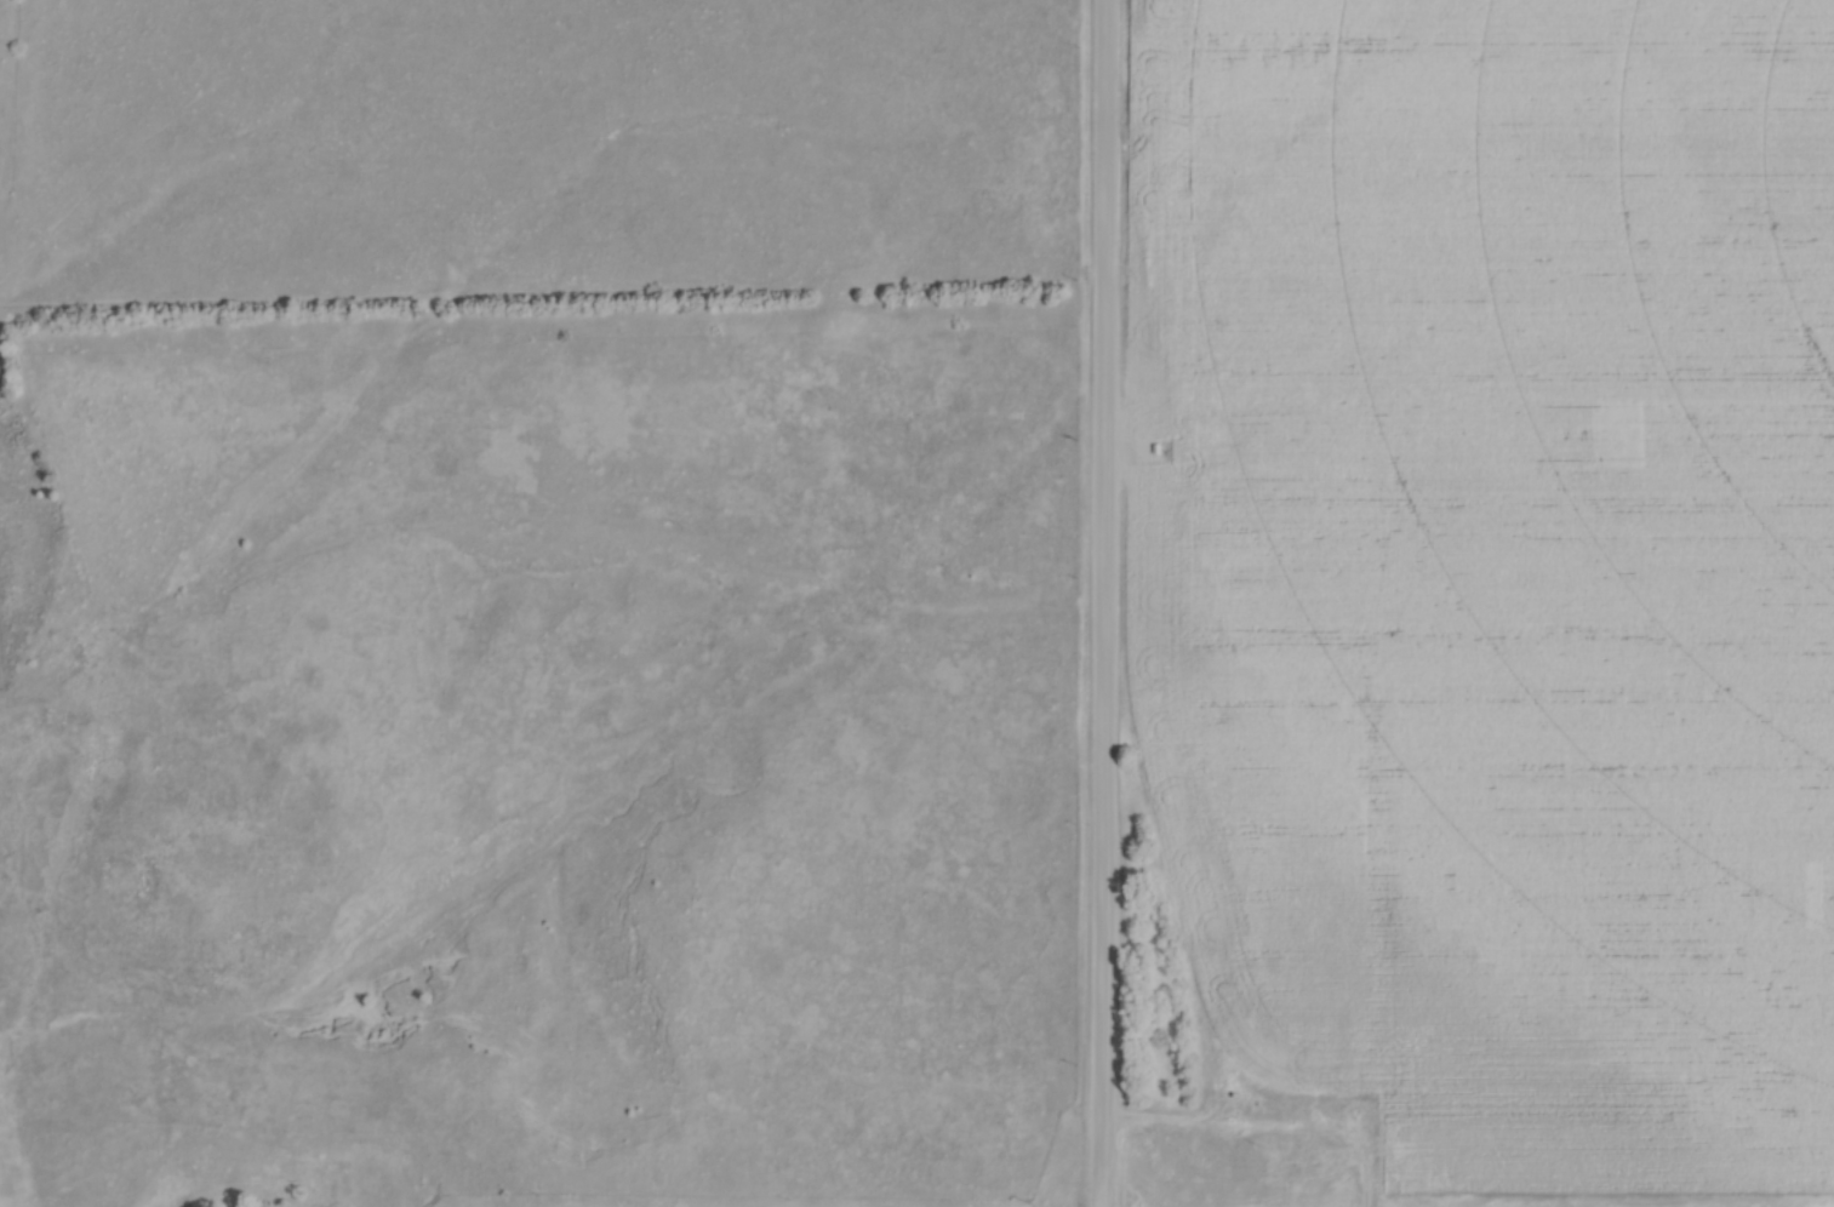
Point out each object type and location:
road: (1104, 603)

